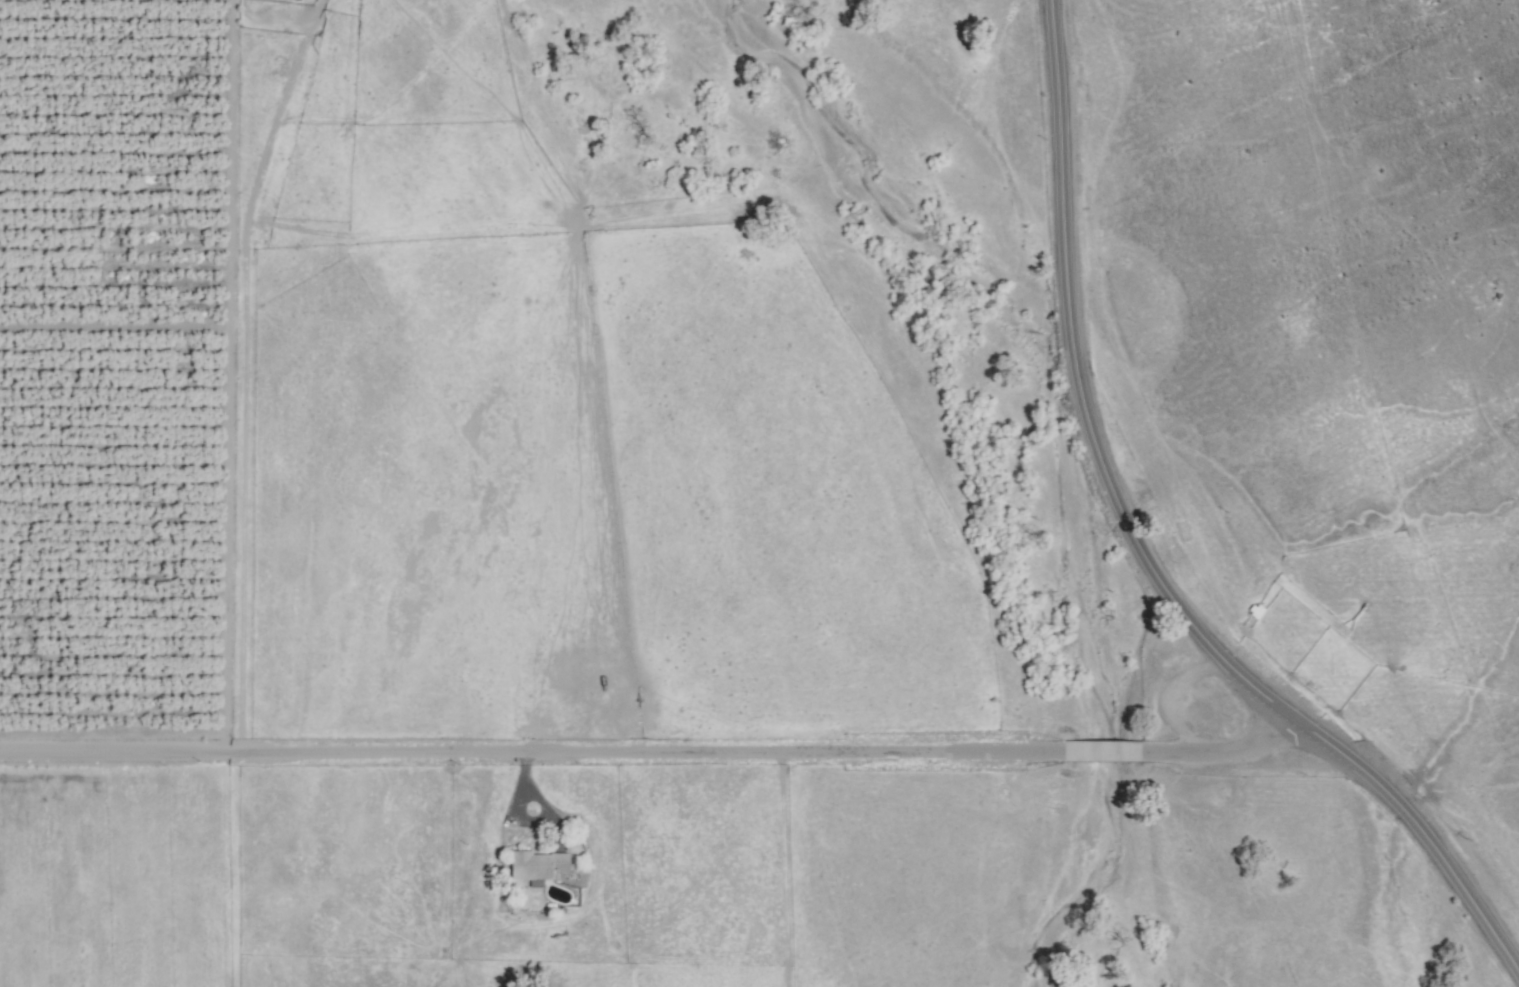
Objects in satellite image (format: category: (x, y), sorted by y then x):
road: (229, 373)
road: (1142, 560)
crop: (566, 570)
crop: (1219, 609)
road: (1225, 746)
road: (531, 749)
road: (1101, 751)
building: (536, 866)

